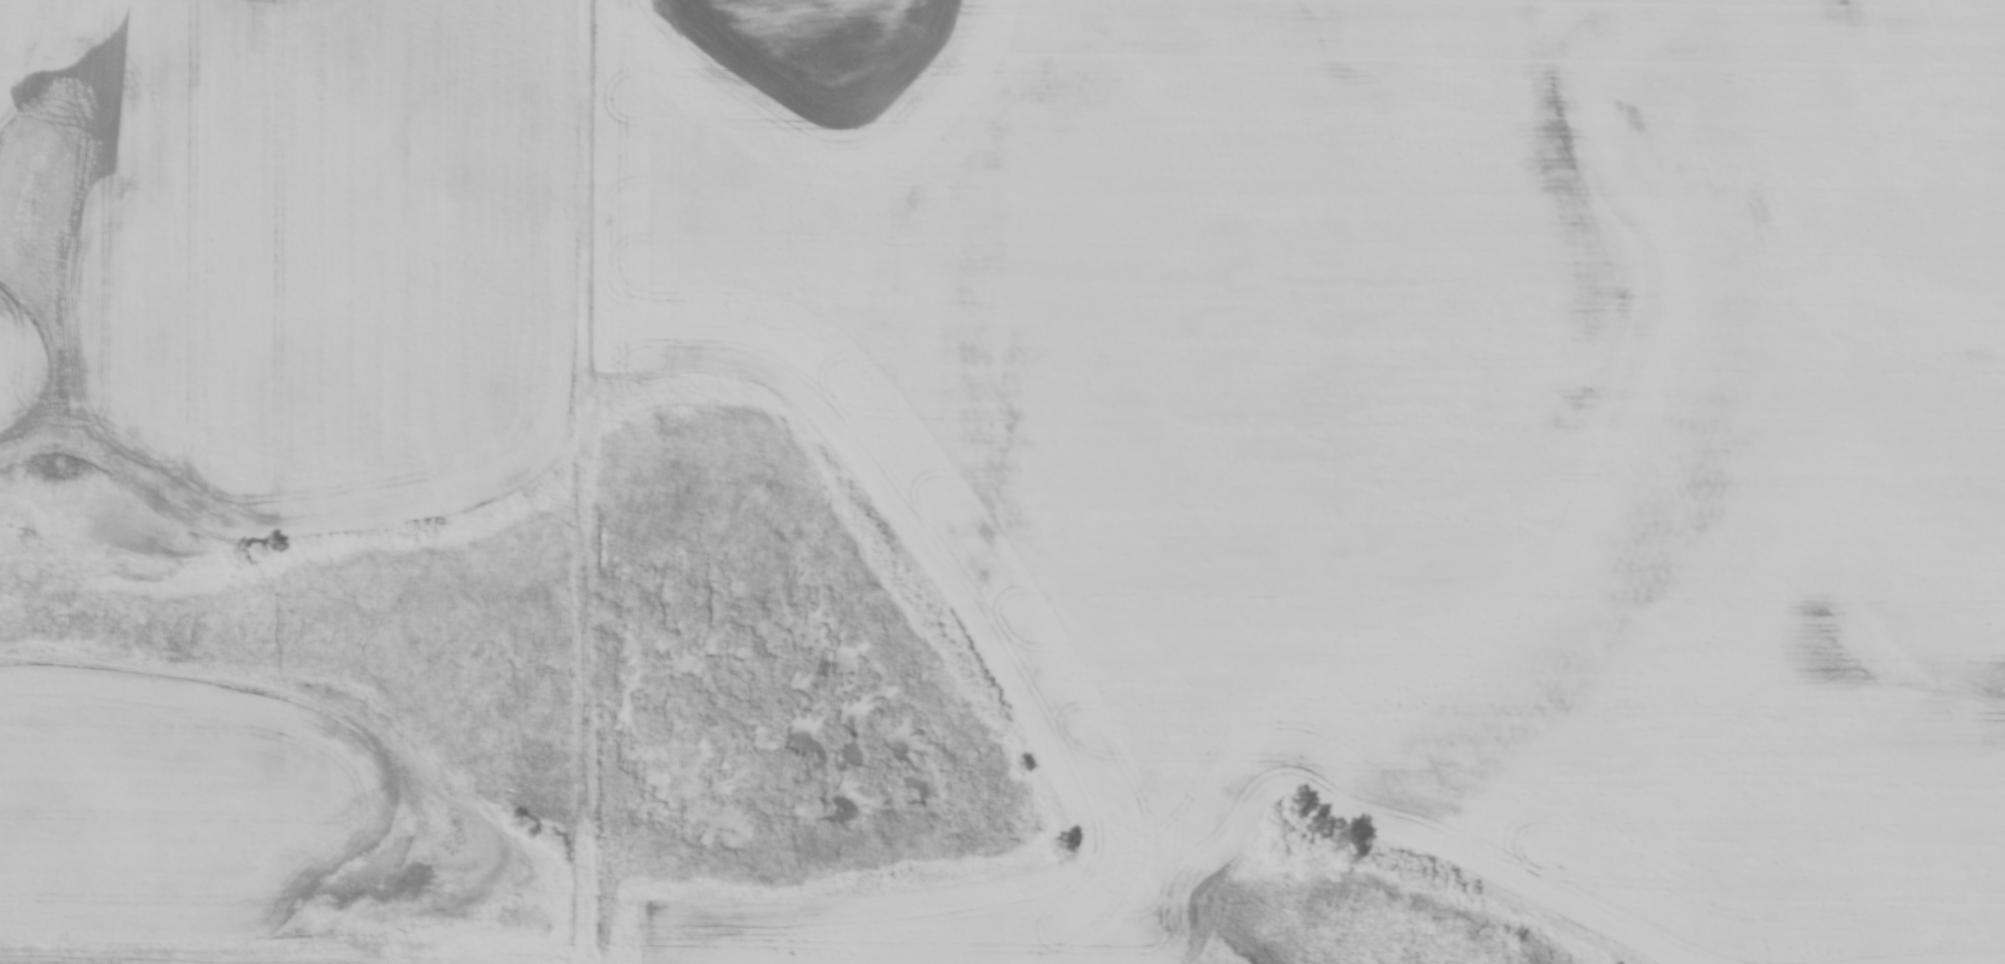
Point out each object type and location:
road: (587, 172)
road: (264, 958)

